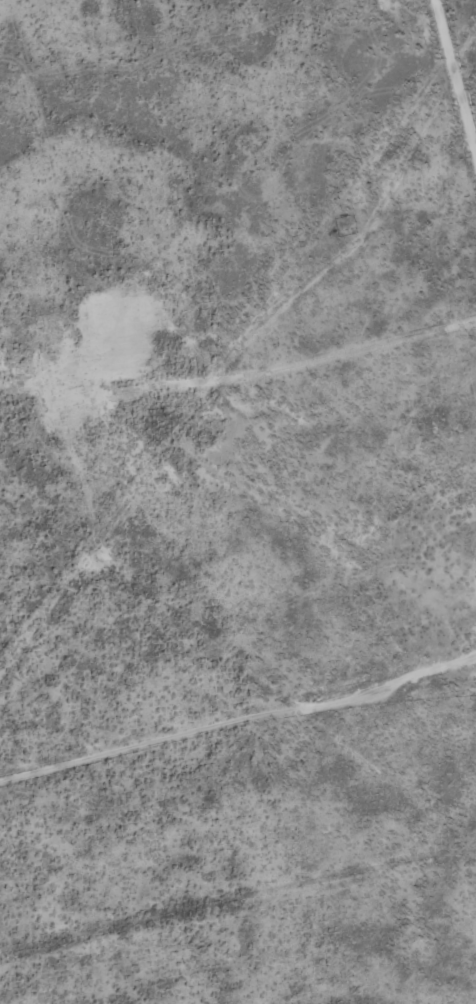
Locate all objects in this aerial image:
road: (179, 48)

